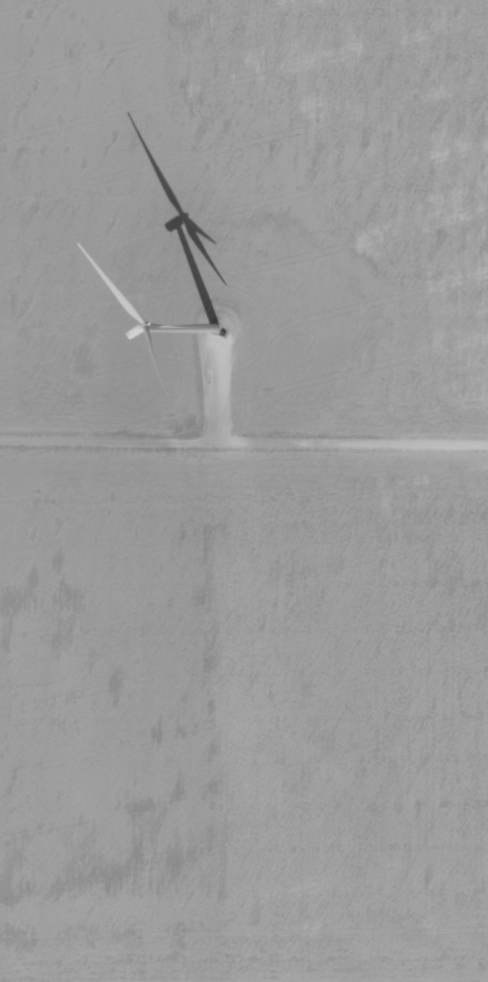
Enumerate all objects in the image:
wind turbine: (215, 330)

